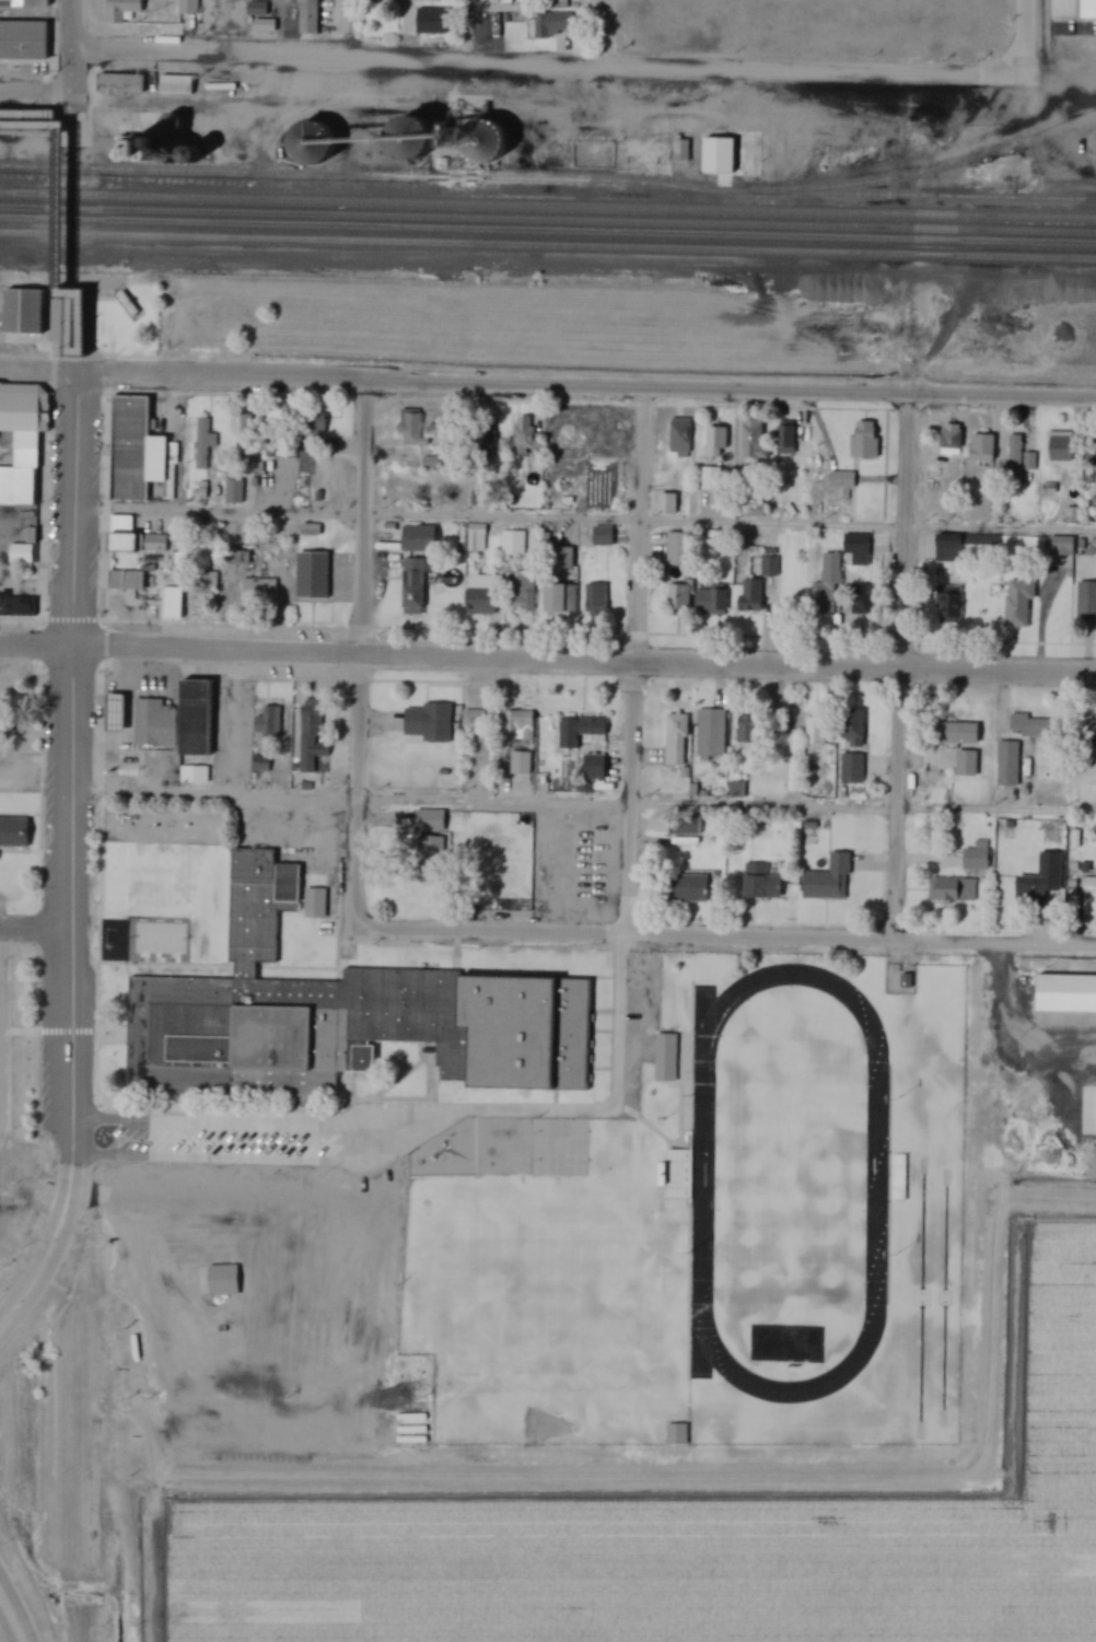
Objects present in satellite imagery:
building: (23, 3)
building: (558, 4)
building: (187, 7)
building: (1086, 8)
building: (256, 9)
building: (121, 11)
building: (304, 19)
building: (435, 22)
road: (208, 26)
building: (551, 26)
road: (334, 28)
road: (475, 31)
road: (609, 33)
road: (1025, 34)
road: (72, 40)
building: (23, 42)
road: (544, 65)
road: (267, 77)
road: (36, 84)
building: (120, 84)
building: (175, 85)
road: (45, 95)
road: (24, 102)
road: (423, 103)
road: (23, 104)
road: (165, 107)
road: (34, 123)
building: (175, 124)
silo: (175, 124)
building: (415, 140)
silo: (415, 140)
building: (487, 142)
silo: (487, 142)
building: (314, 143)
silo: (314, 143)
building: (679, 148)
building: (246, 153)
silo: (246, 153)
building: (219, 154)
silo: (219, 154)
building: (195, 155)
silo: (195, 155)
building: (175, 156)
silo: (175, 156)
building: (719, 159)
road: (56, 178)
railway: (553, 179)
railway: (932, 194)
railway: (548, 205)
railway: (547, 219)
railway: (547, 230)
railway: (548, 245)
road: (1010, 272)
road: (51, 317)
building: (28, 318)
road: (912, 333)
road: (71, 339)
road: (36, 365)
road: (584, 387)
building: (314, 426)
building: (409, 427)
building: (485, 434)
building: (523, 436)
building: (679, 436)
building: (784, 439)
building: (863, 439)
building: (949, 439)
building: (247, 440)
building: (751, 440)
building: (713, 442)
building: (21, 443)
building: (205, 445)
building: (981, 447)
building: (1060, 447)
building: (139, 452)
building: (1014, 459)
building: (1030, 462)
building: (710, 477)
building: (840, 479)
building: (233, 491)
building: (666, 504)
building: (751, 509)
road: (73, 510)
road: (365, 519)
road: (584, 520)
building: (310, 529)
building: (123, 535)
building: (602, 535)
building: (418, 538)
building: (476, 538)
building: (512, 543)
building: (958, 545)
building: (1060, 545)
building: (677, 547)
building: (856, 548)
building: (21, 552)
building: (238, 557)
building: (561, 558)
building: (312, 575)
building: (826, 584)
building: (127, 585)
building: (412, 585)
building: (206, 586)
building: (257, 589)
building: (522, 594)
building: (749, 594)
building: (481, 595)
building: (678, 598)
building: (559, 599)
building: (594, 599)
building: (860, 599)
building: (710, 601)
building: (172, 603)
building: (1017, 603)
building: (947, 605)
building: (16, 606)
building: (1086, 610)
road: (36, 647)
road: (584, 659)
road: (634, 662)
road: (900, 667)
building: (471, 720)
building: (511, 721)
building: (428, 722)
building: (153, 723)
building: (267, 724)
building: (1030, 725)
building: (851, 729)
building: (758, 730)
building: (195, 732)
building: (582, 733)
building: (955, 733)
building: (710, 734)
building: (1091, 734)
building: (311, 735)
building: (814, 737)
building: (675, 740)
road: (36, 762)
building: (965, 762)
building: (260, 764)
building: (1007, 764)
building: (593, 766)
building: (851, 768)
building: (735, 790)
road: (357, 792)
road: (583, 803)
building: (430, 820)
building: (683, 825)
building: (14, 832)
building: (431, 852)
building: (975, 855)
building: (827, 878)
building: (759, 882)
building: (1088, 882)
building: (685, 887)
building: (952, 888)
building: (1030, 890)
building: (314, 902)
road: (72, 922)
road: (36, 927)
road: (723, 936)
building: (1069, 1001)
building: (341, 1015)
building: (664, 1057)
building: (559, 1148)
park: (789, 1171)
building: (676, 1174)
building: (896, 1177)
park: (786, 1179)
road: (36, 1253)
road: (42, 1266)
building: (223, 1280)
building: (676, 1434)
road: (19, 1606)
road: (5, 1628)

